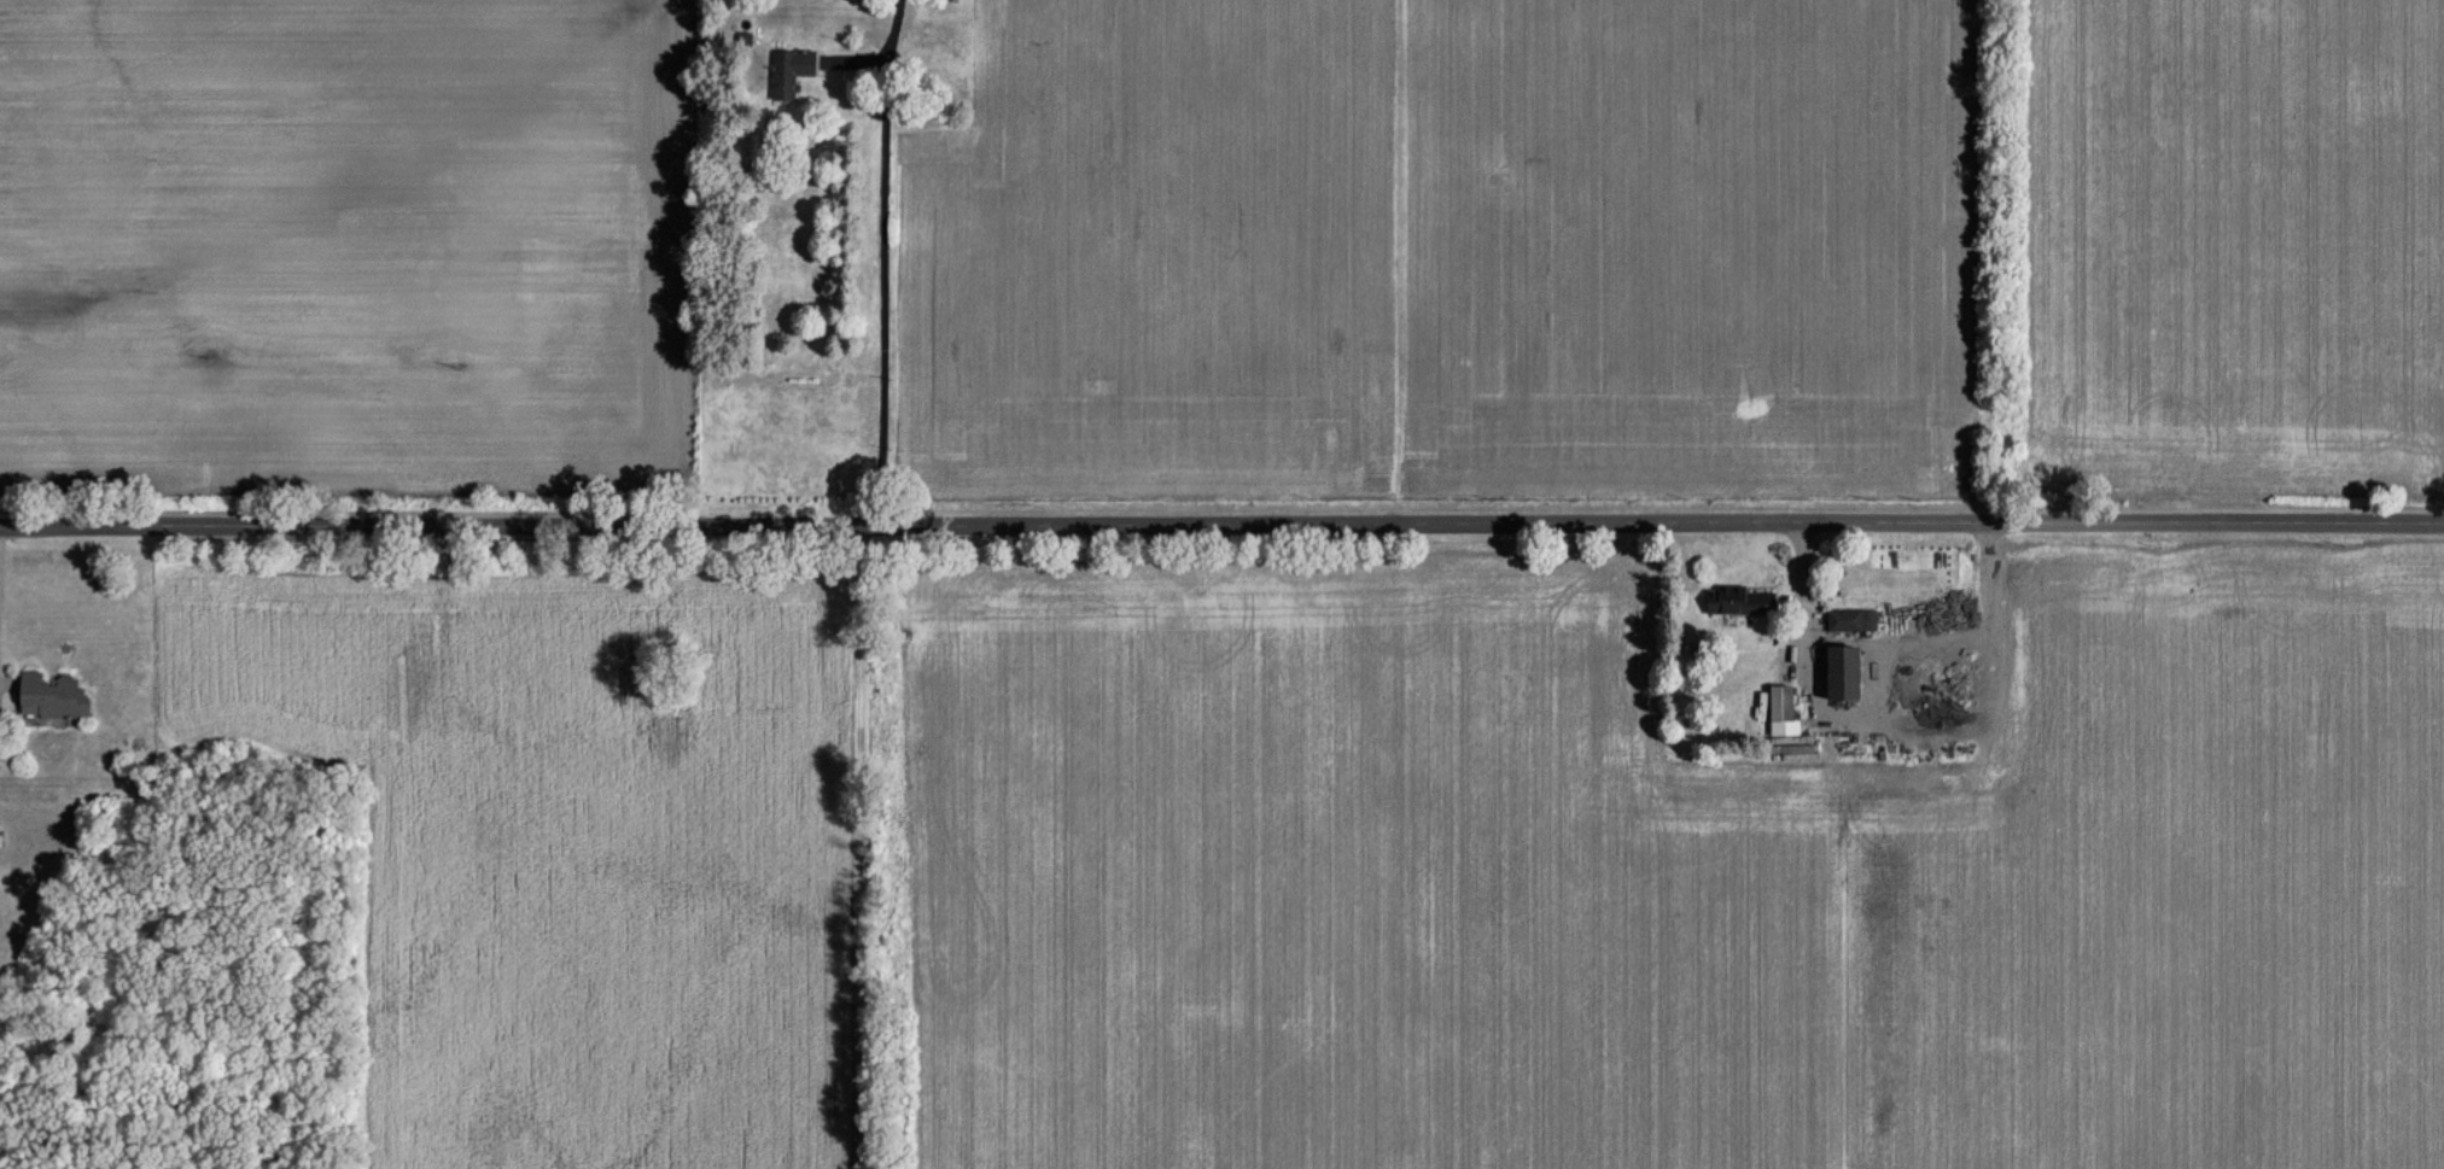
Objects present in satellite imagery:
building: (791, 71)
building: (784, 249)
road: (885, 261)
road: (1221, 521)
building: (1743, 600)
building: (1853, 619)
building: (1847, 671)
building: (54, 695)
building: (1784, 709)

